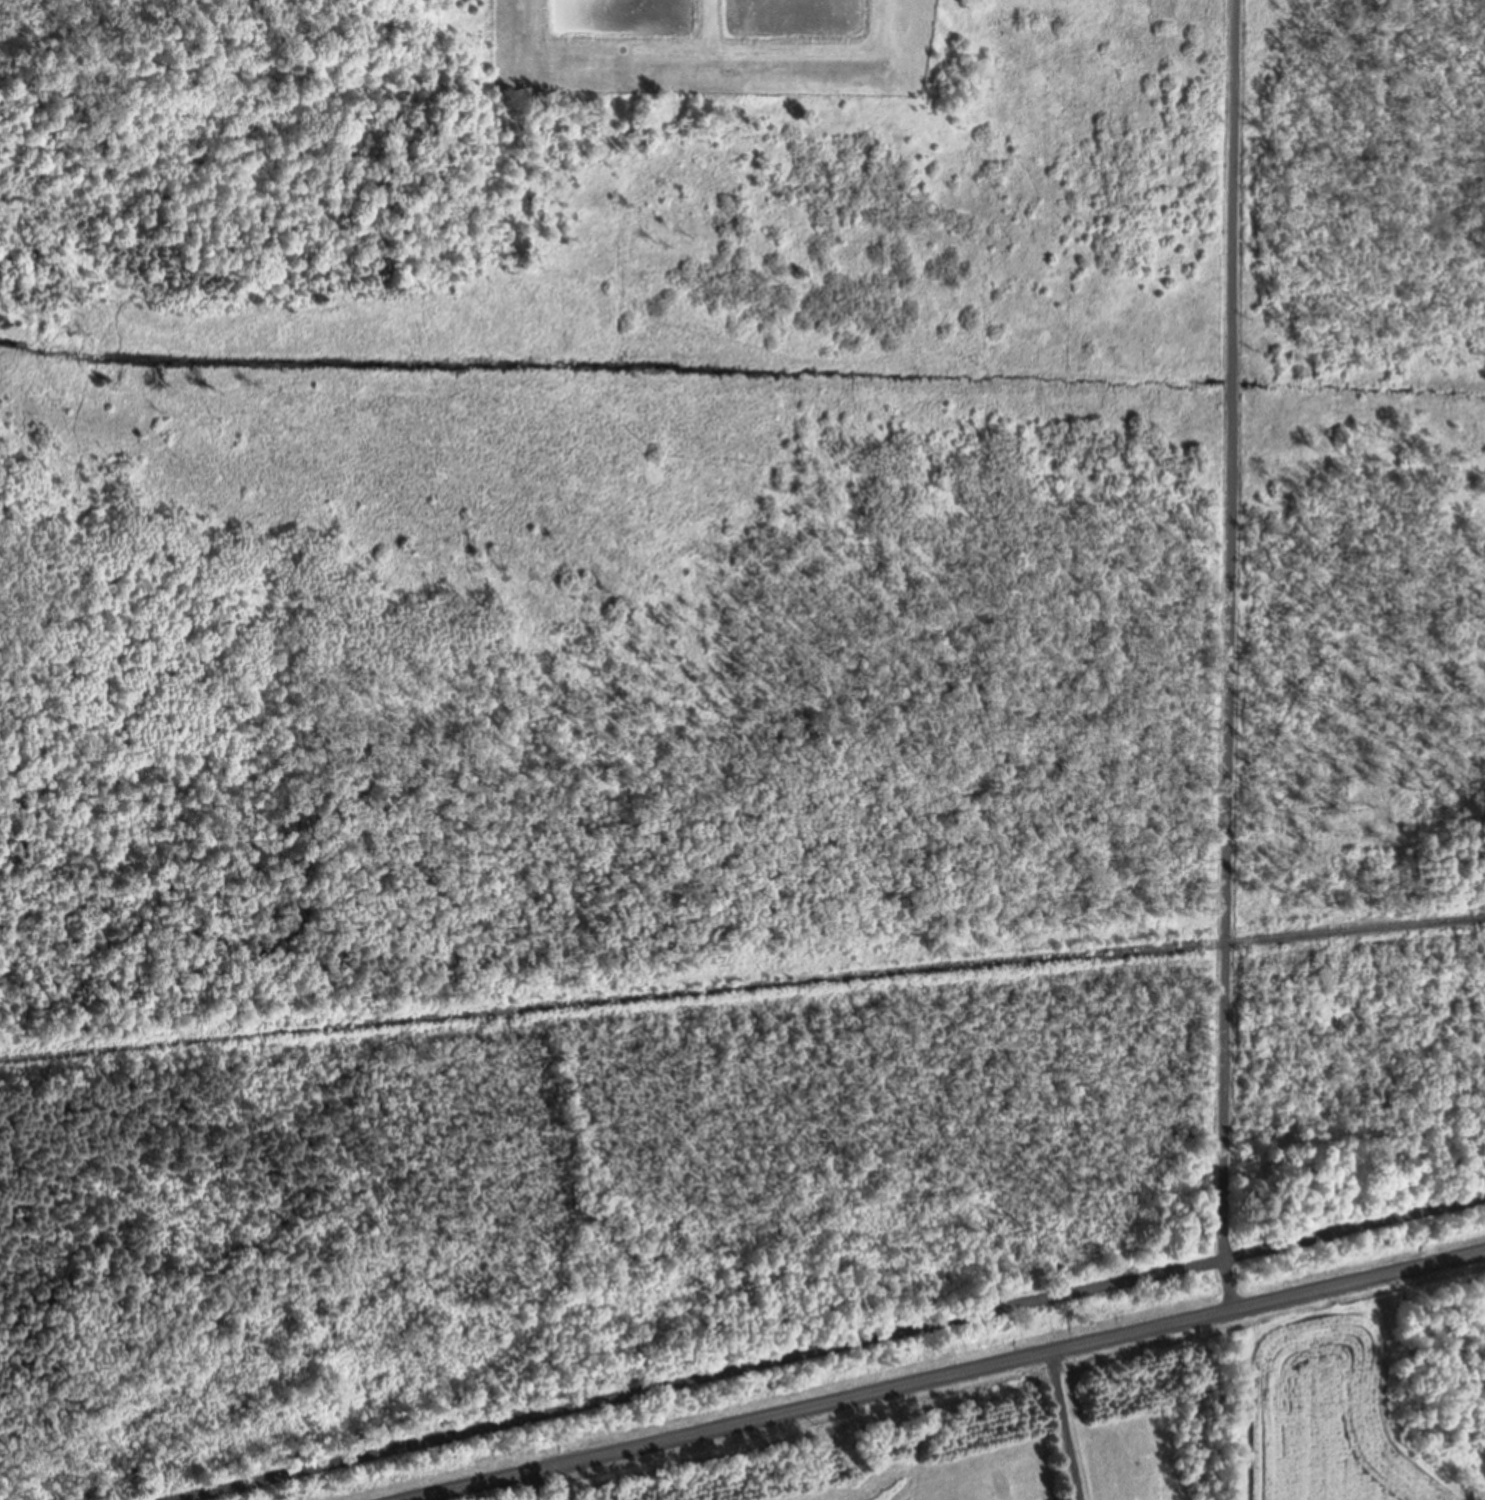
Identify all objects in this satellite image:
road: (1228, 656)
railway: (742, 990)
road: (838, 1349)
road: (943, 1376)

